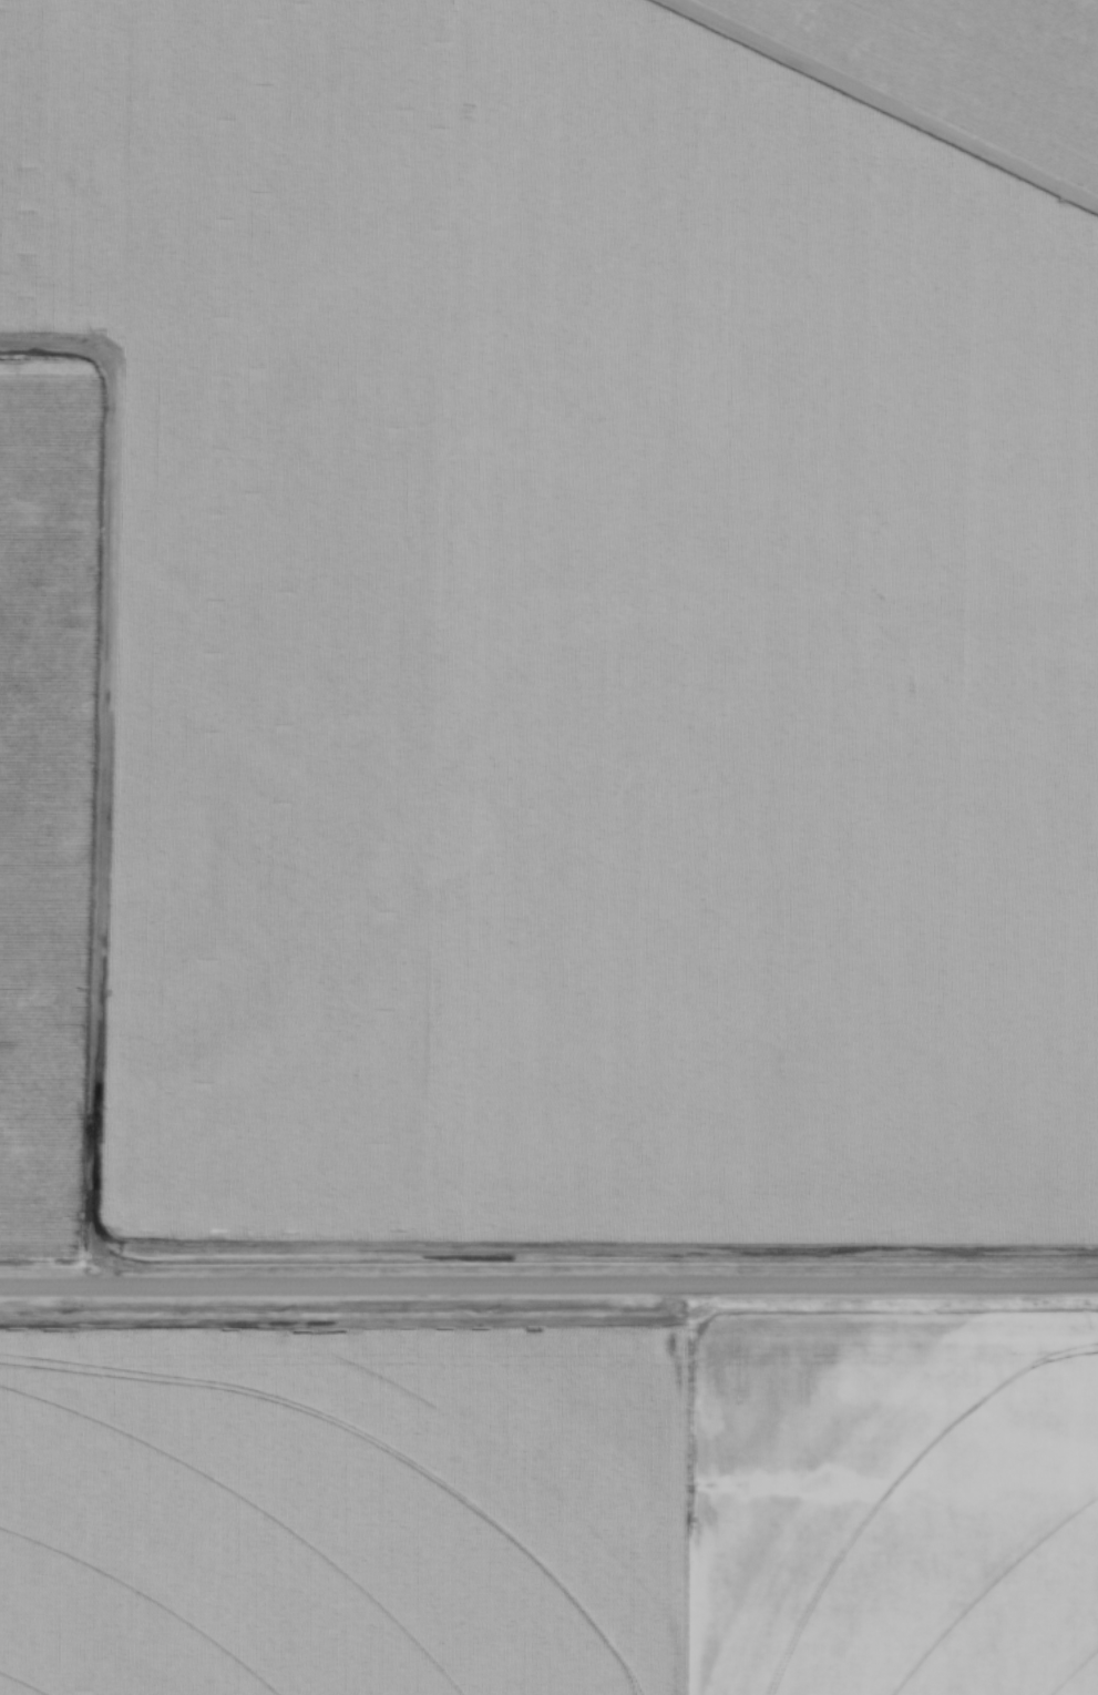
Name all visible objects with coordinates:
road: (548, 1293)

